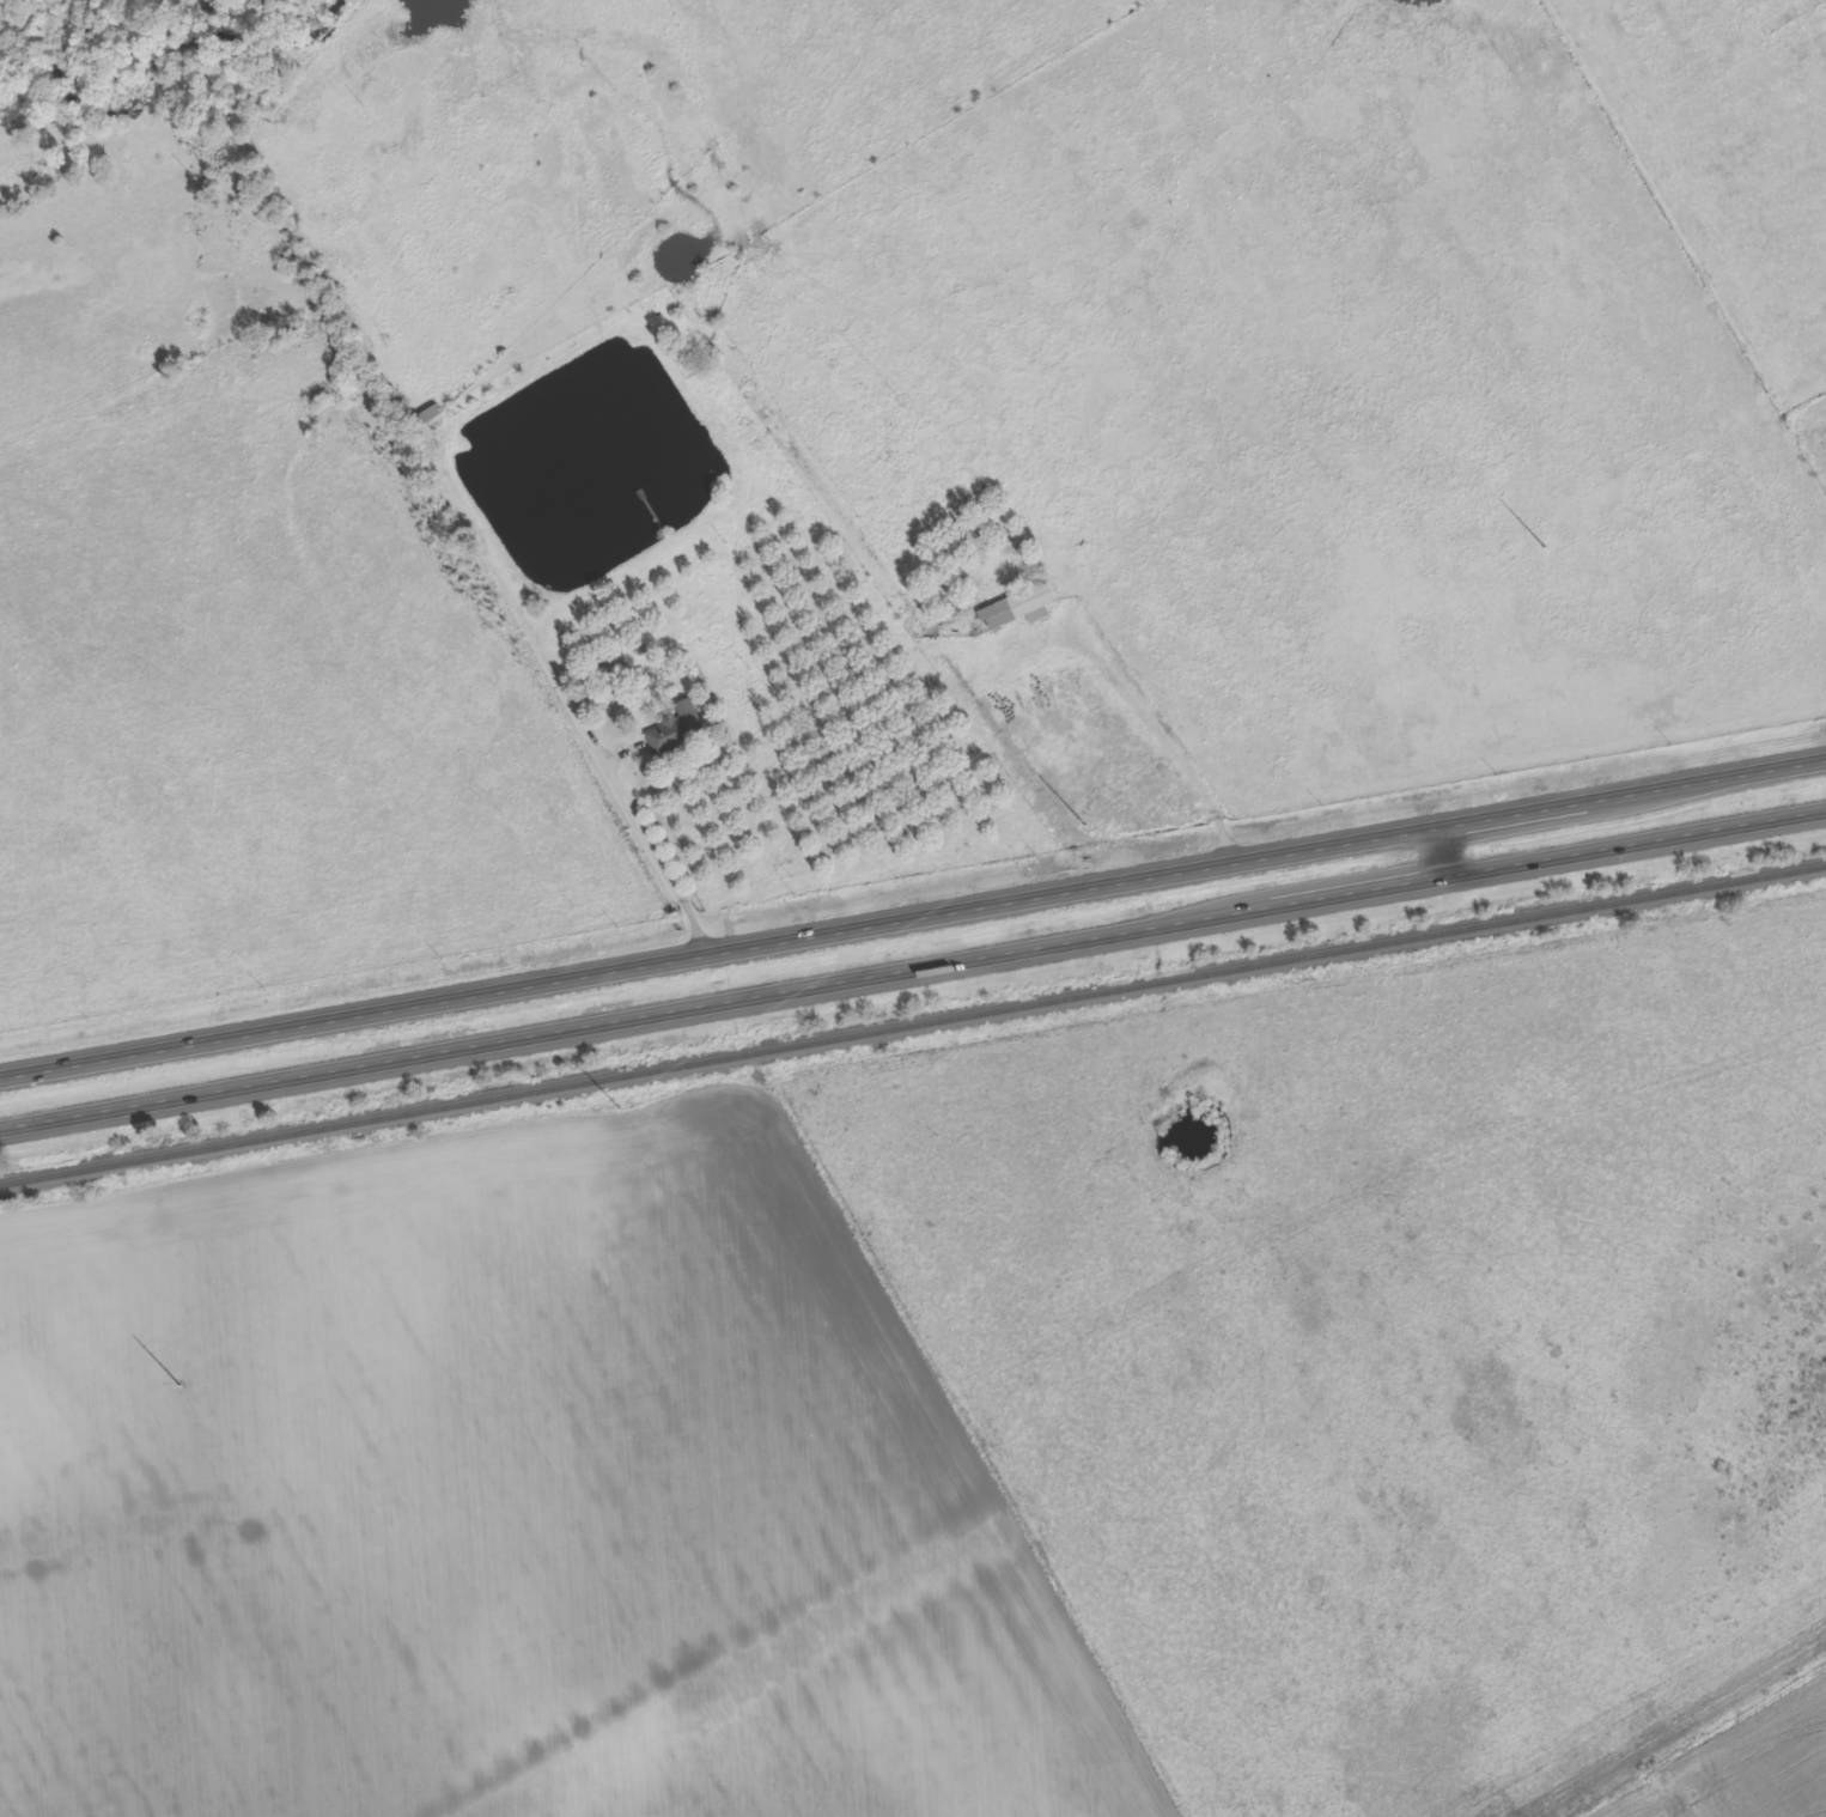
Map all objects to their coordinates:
building: (422, 423)
building: (1017, 606)
building: (675, 729)
road: (1162, 734)
road: (616, 783)
road: (1435, 853)
road: (912, 913)
road: (913, 961)
railway: (913, 1027)

